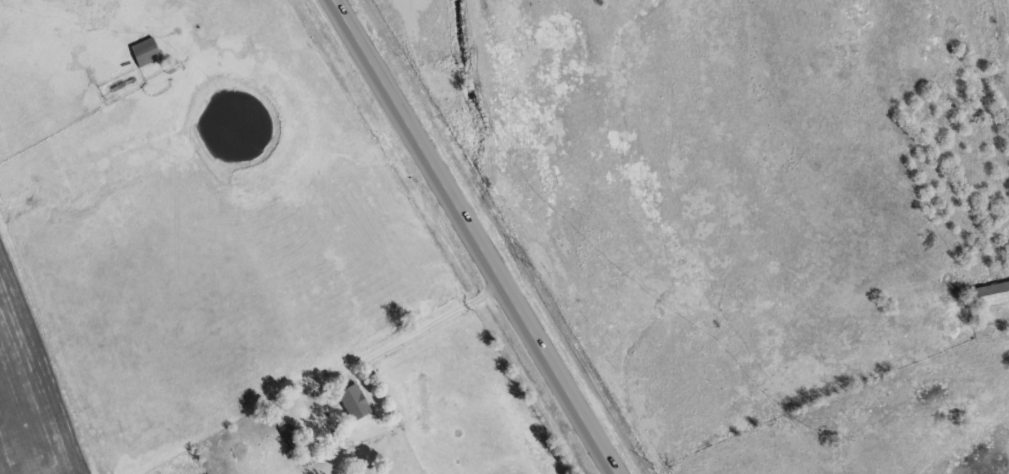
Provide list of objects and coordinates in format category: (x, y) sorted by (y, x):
building: (142, 51)
road: (465, 237)
building: (988, 293)
road: (420, 330)
building: (351, 401)
building: (290, 438)
road: (1008, 473)

